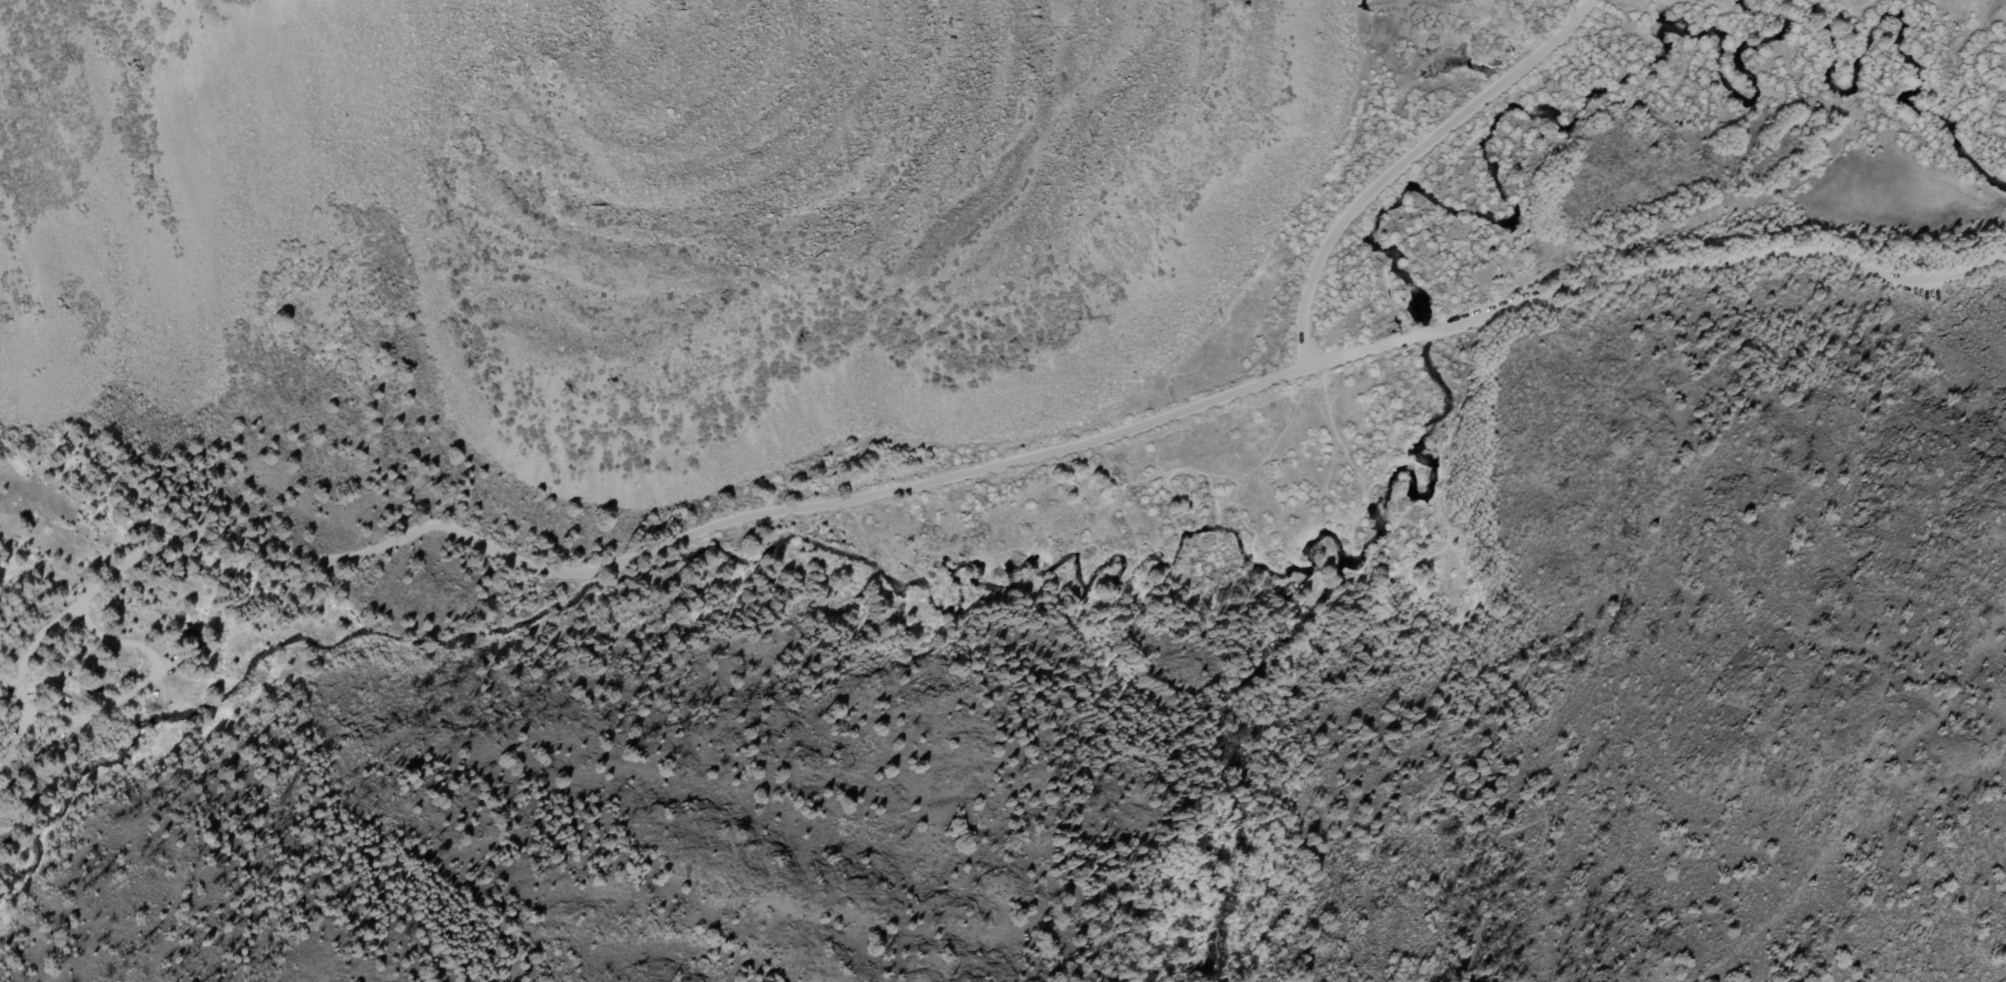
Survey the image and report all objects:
road: (1406, 160)
parking lot: (1926, 295)
road: (1031, 460)
road: (1663, 516)
road: (29, 658)
road: (151, 682)
road: (9, 697)
road: (1473, 703)

